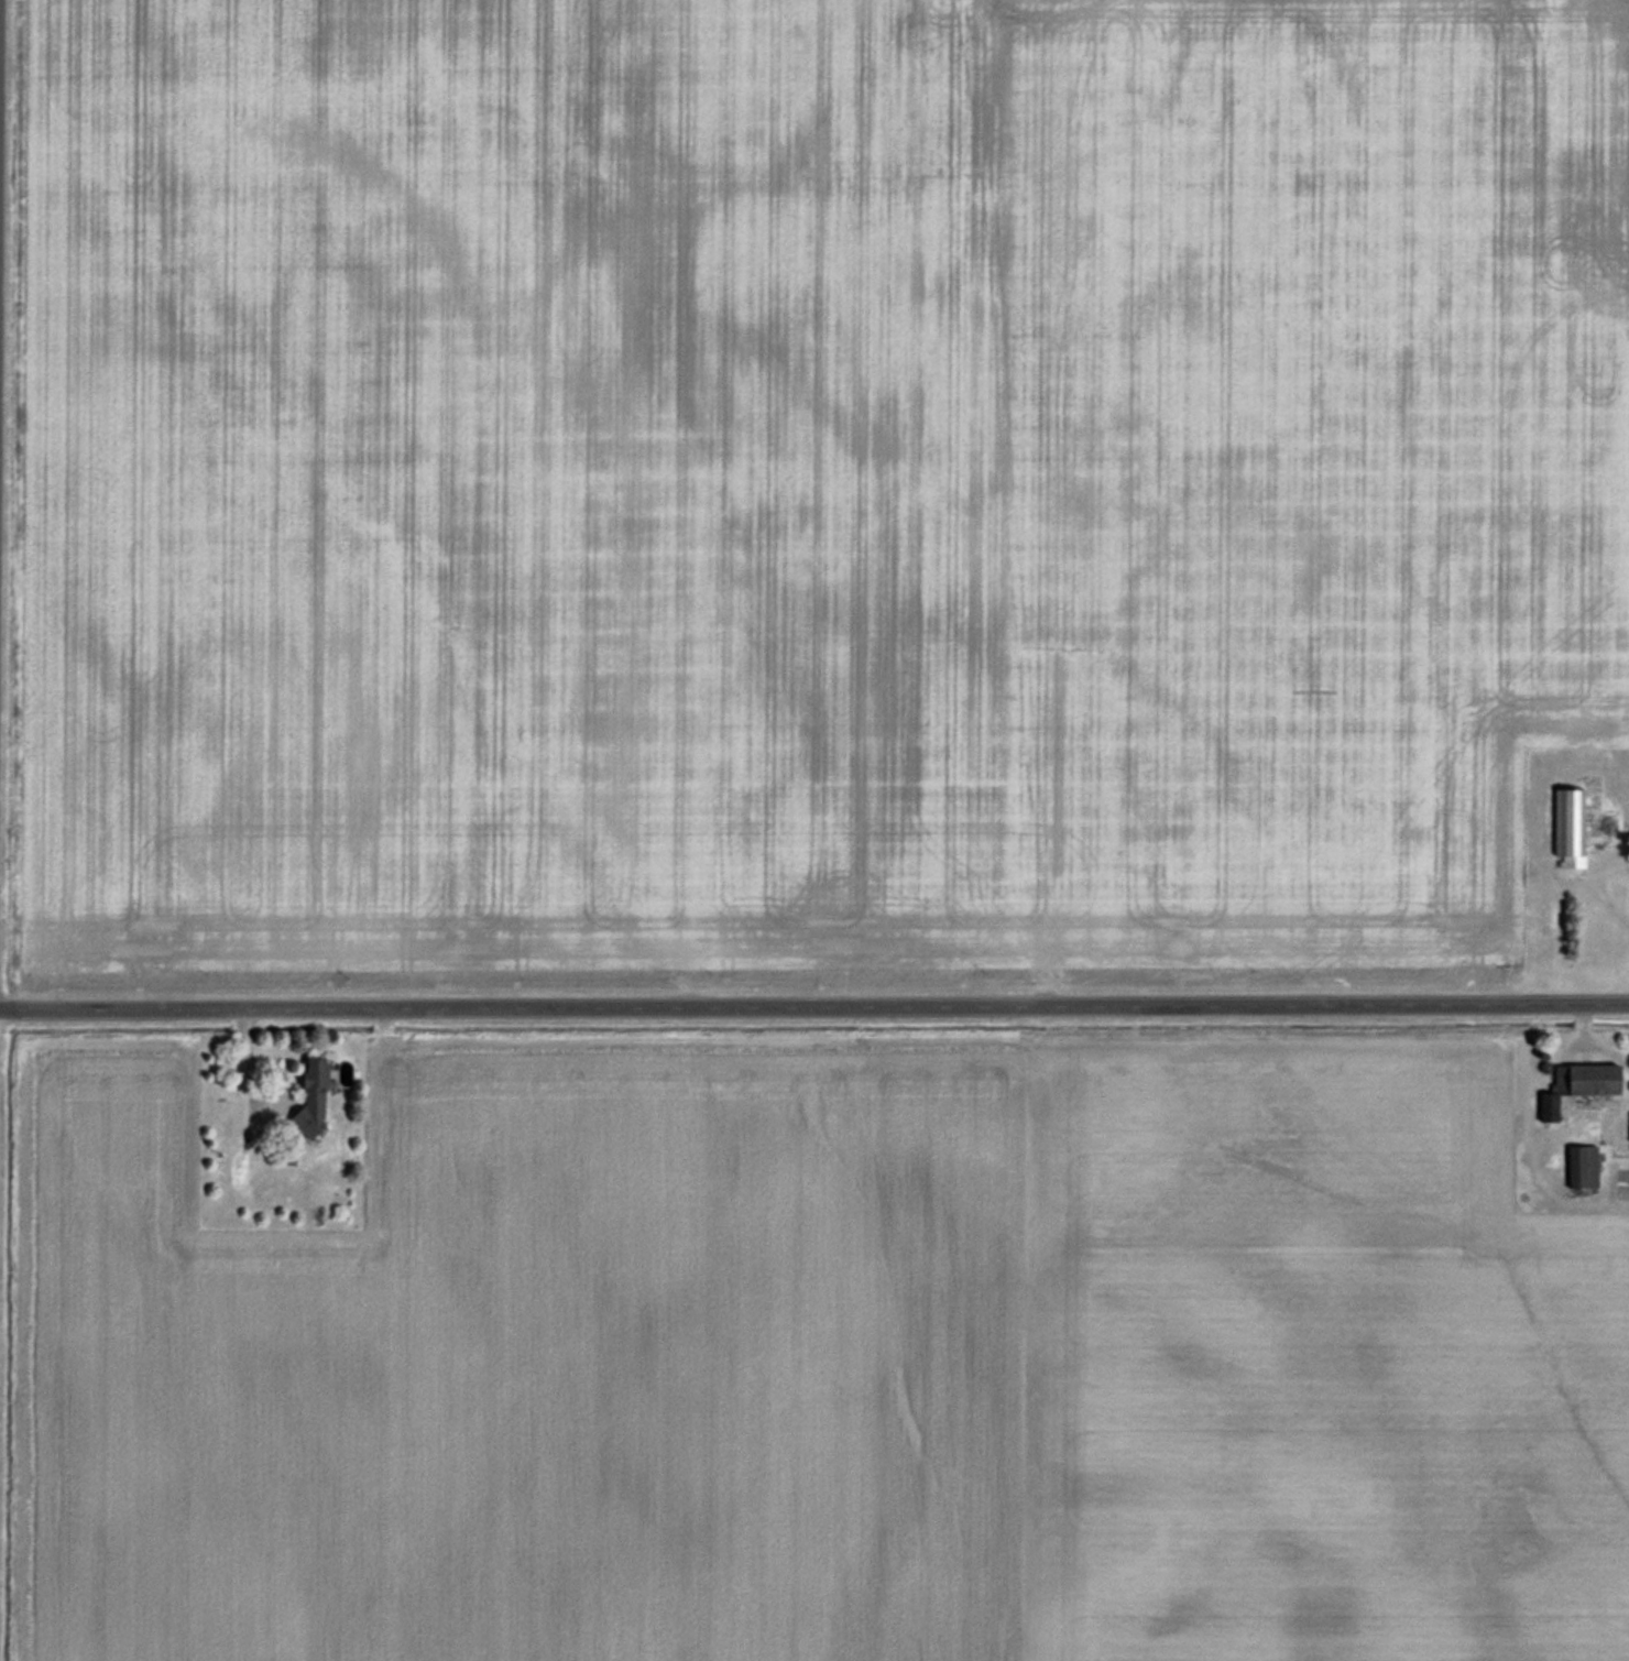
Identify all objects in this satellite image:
building: (1566, 826)
road: (1590, 882)
road: (814, 1009)
building: (1575, 1084)
building: (308, 1096)
building: (1628, 1125)
building: (1578, 1166)

